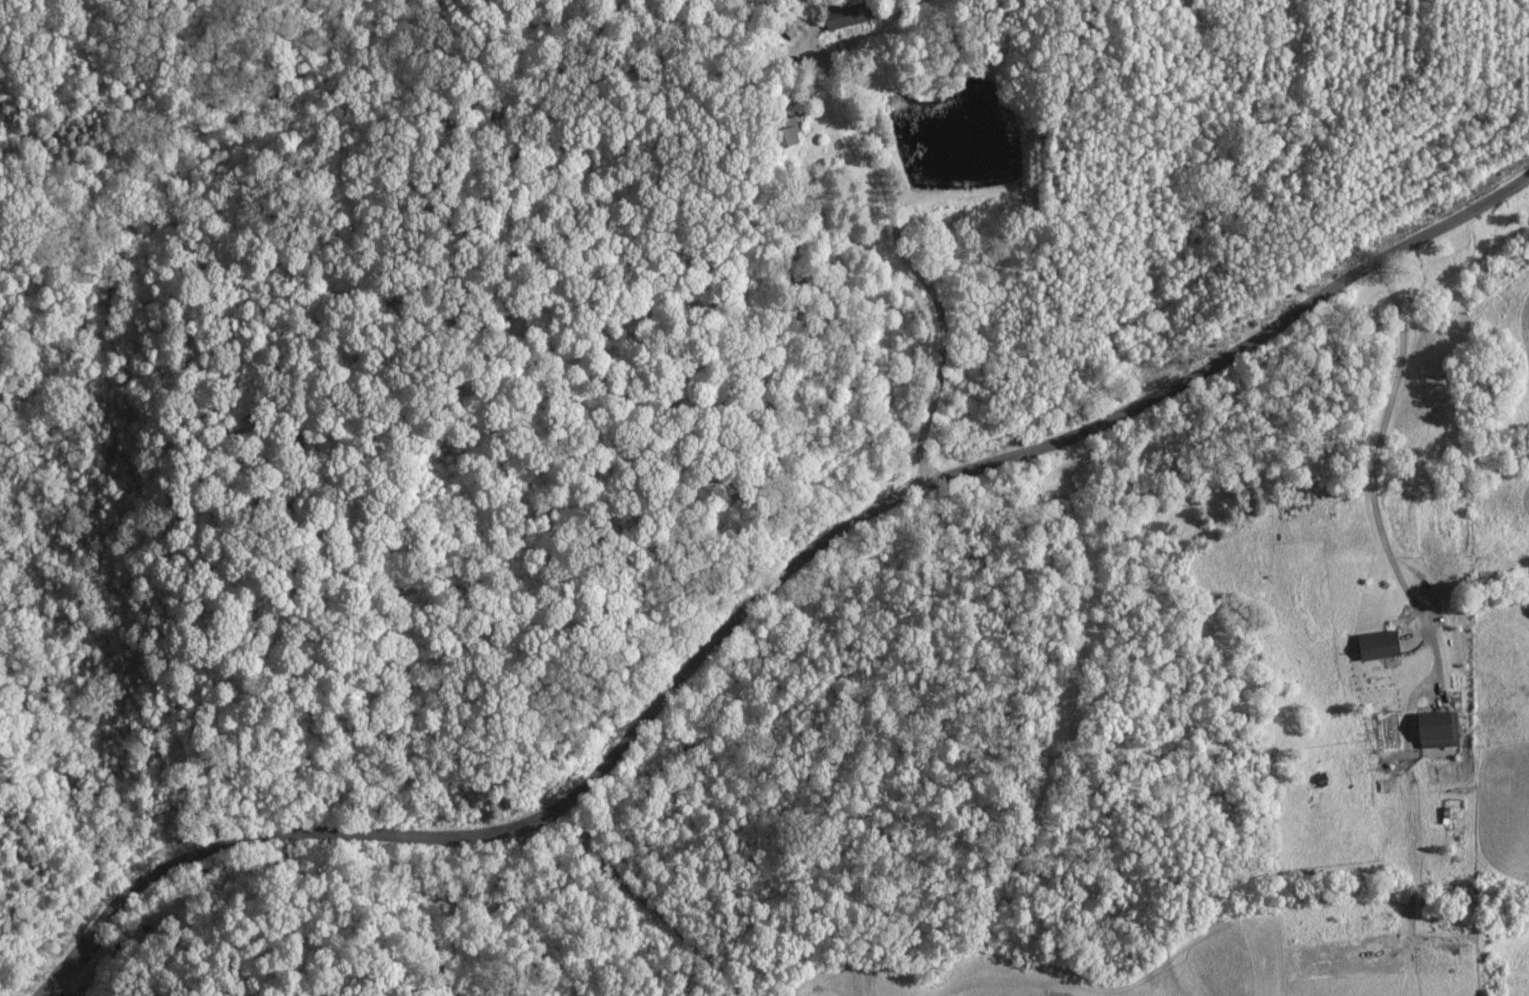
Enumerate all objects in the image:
building: (845, 18)
road: (760, 593)
road: (369, 595)
building: (1376, 645)
building: (1435, 729)

